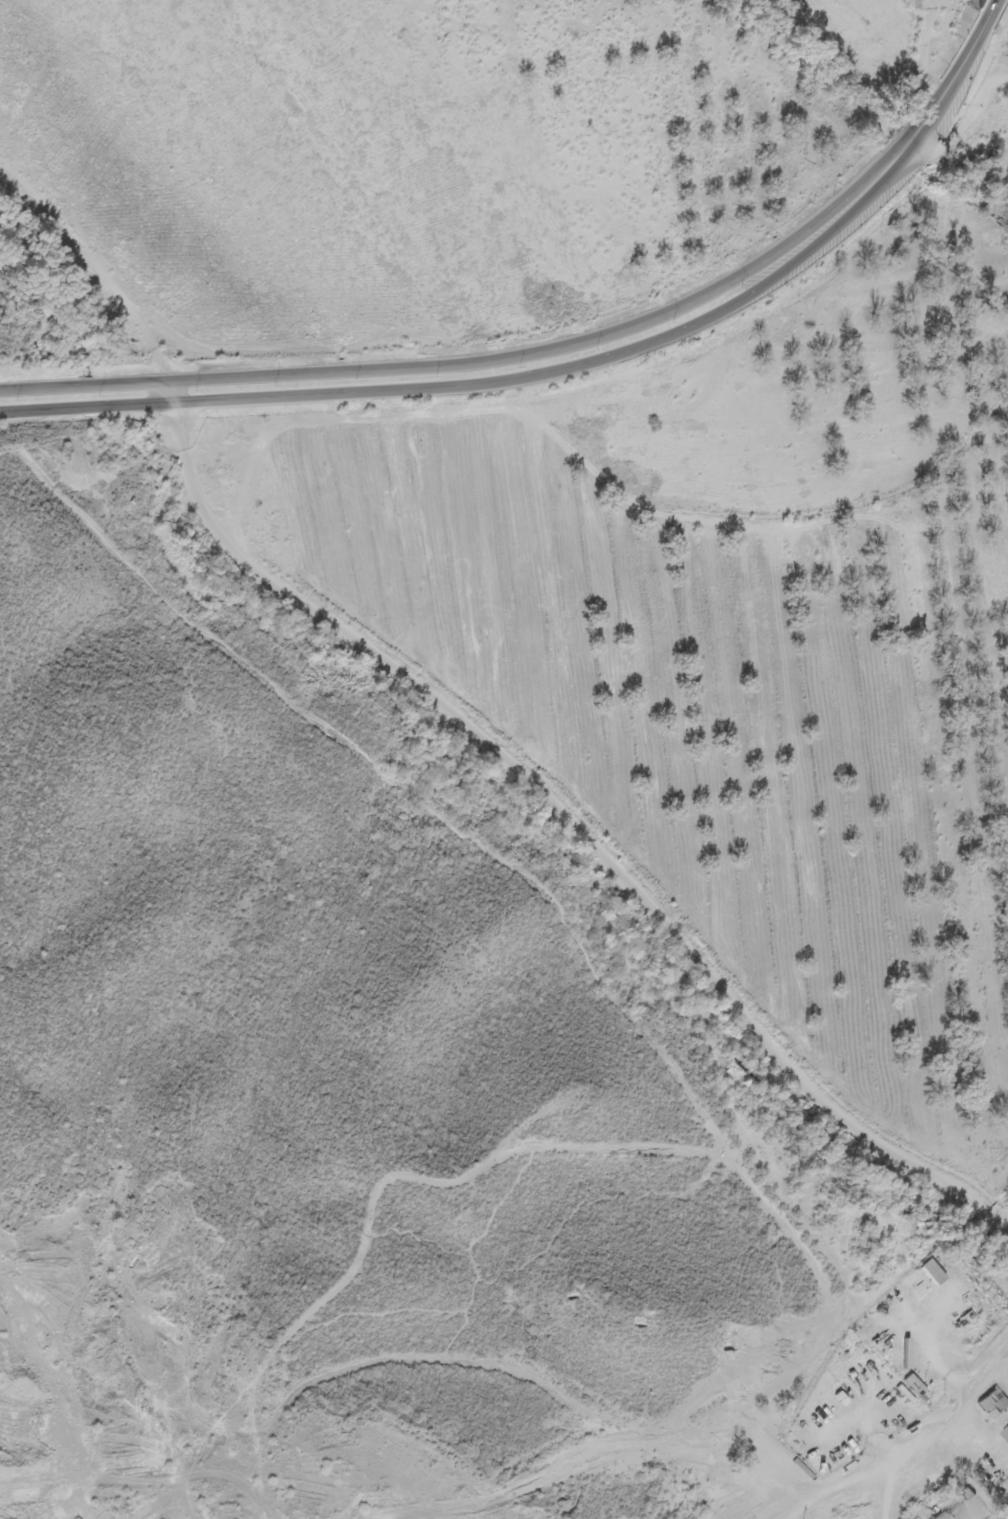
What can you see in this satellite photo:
road: (953, 121)

